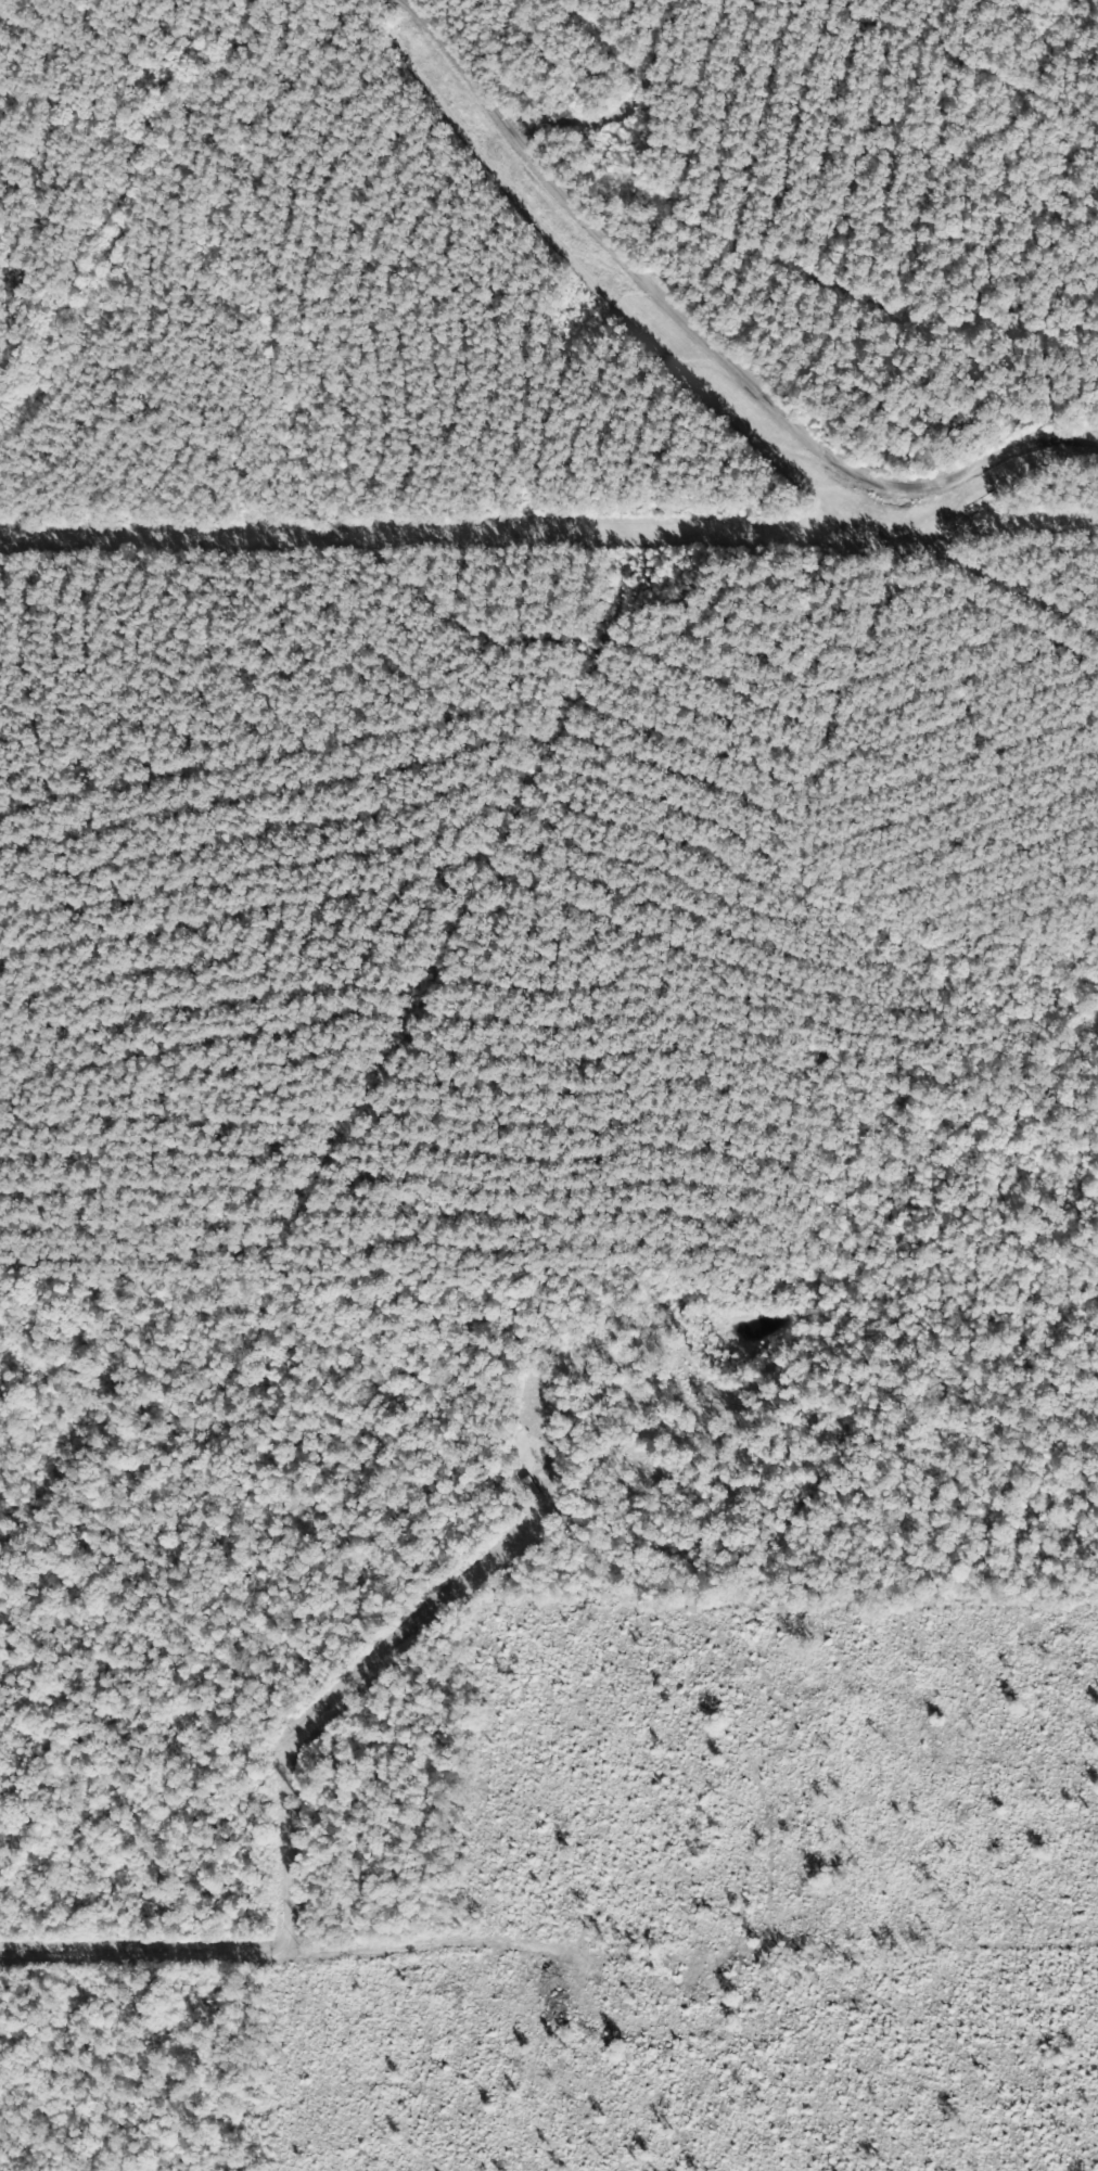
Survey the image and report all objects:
road: (668, 353)
building: (525, 1486)

